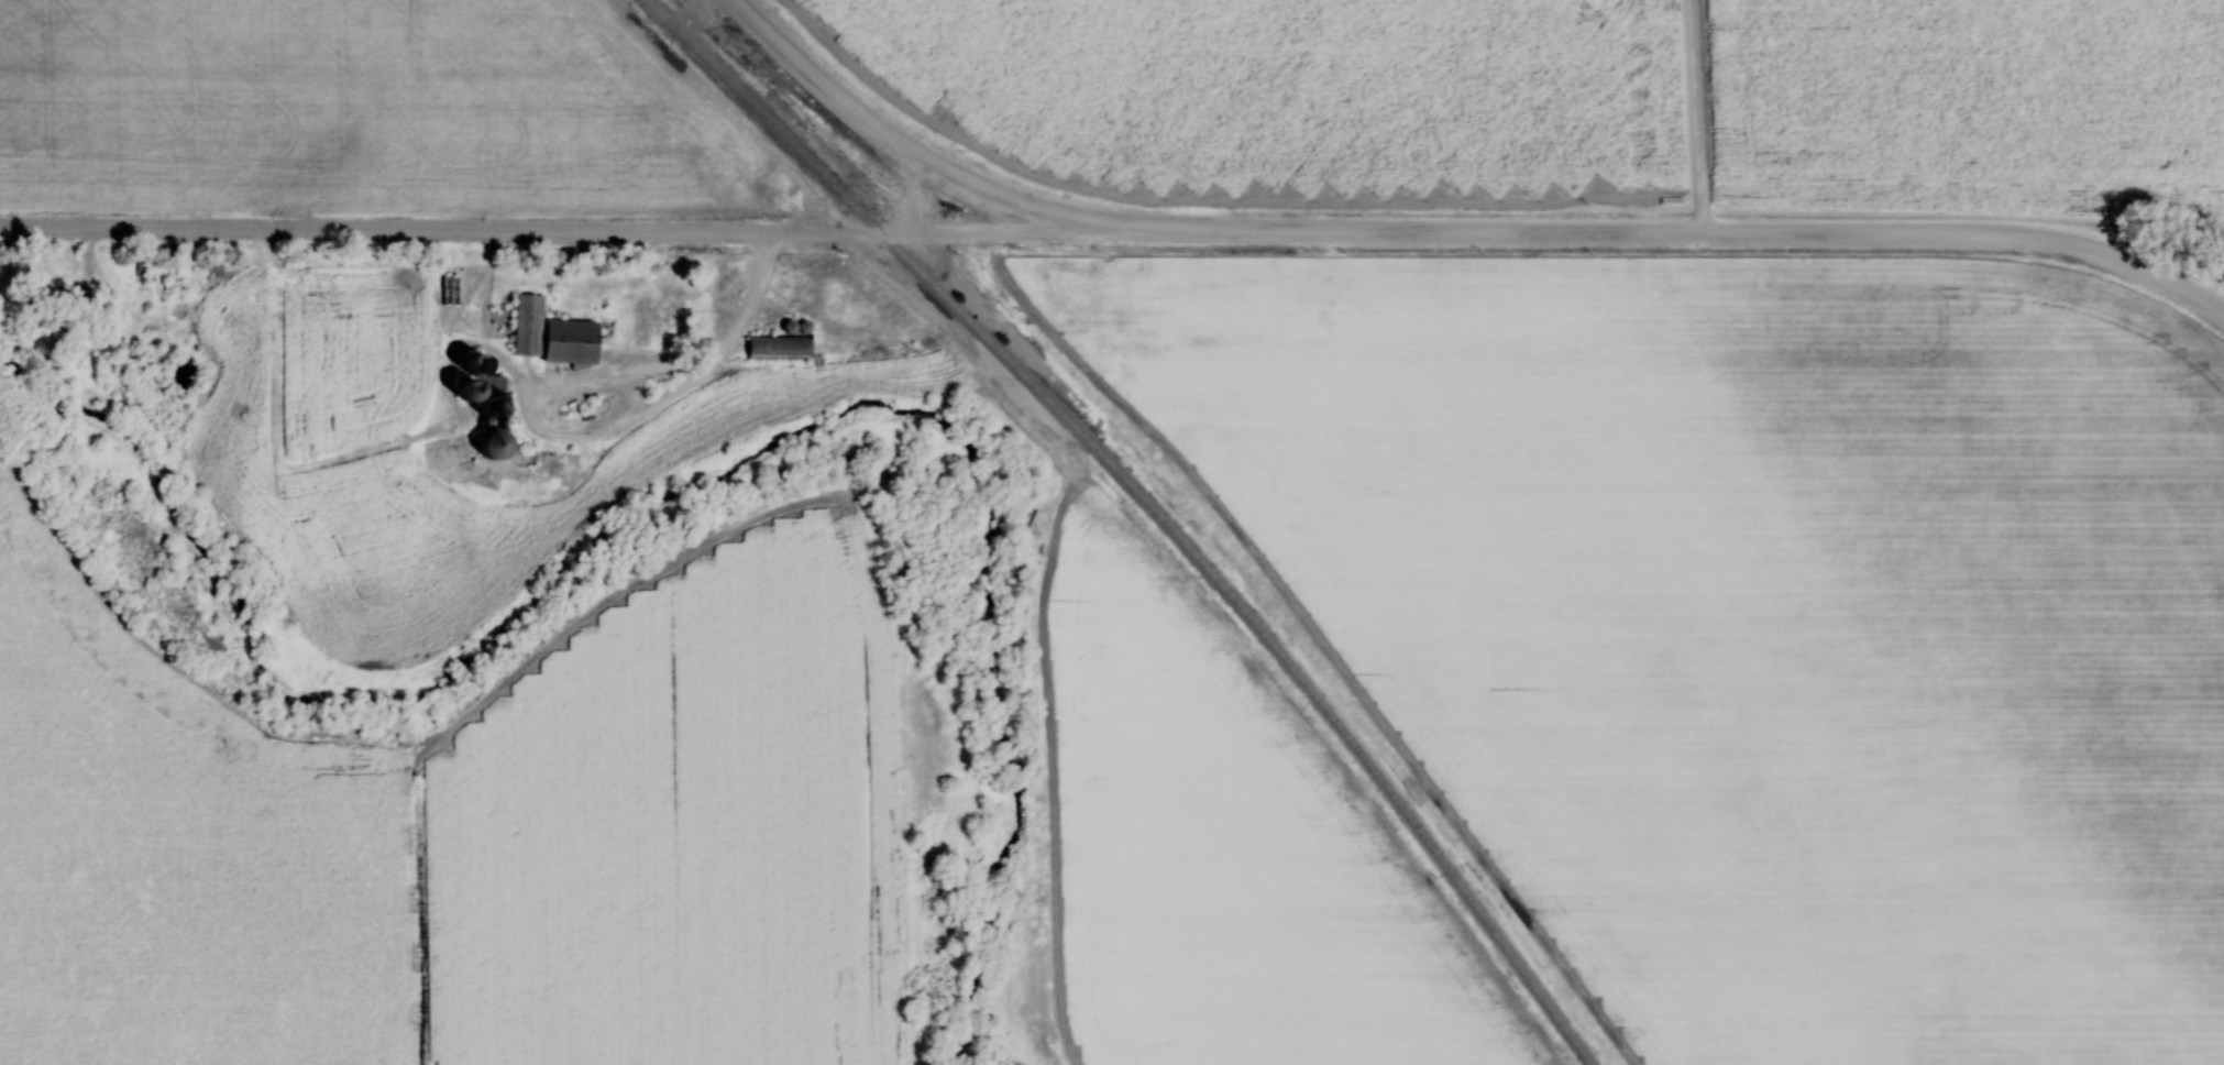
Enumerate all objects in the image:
road: (1700, 119)
road: (905, 152)
road: (913, 196)
road: (1588, 235)
road: (563, 237)
building: (211, 270)
road: (2140, 271)
building: (547, 333)
building: (774, 344)
road: (682, 396)
railway: (1172, 492)

